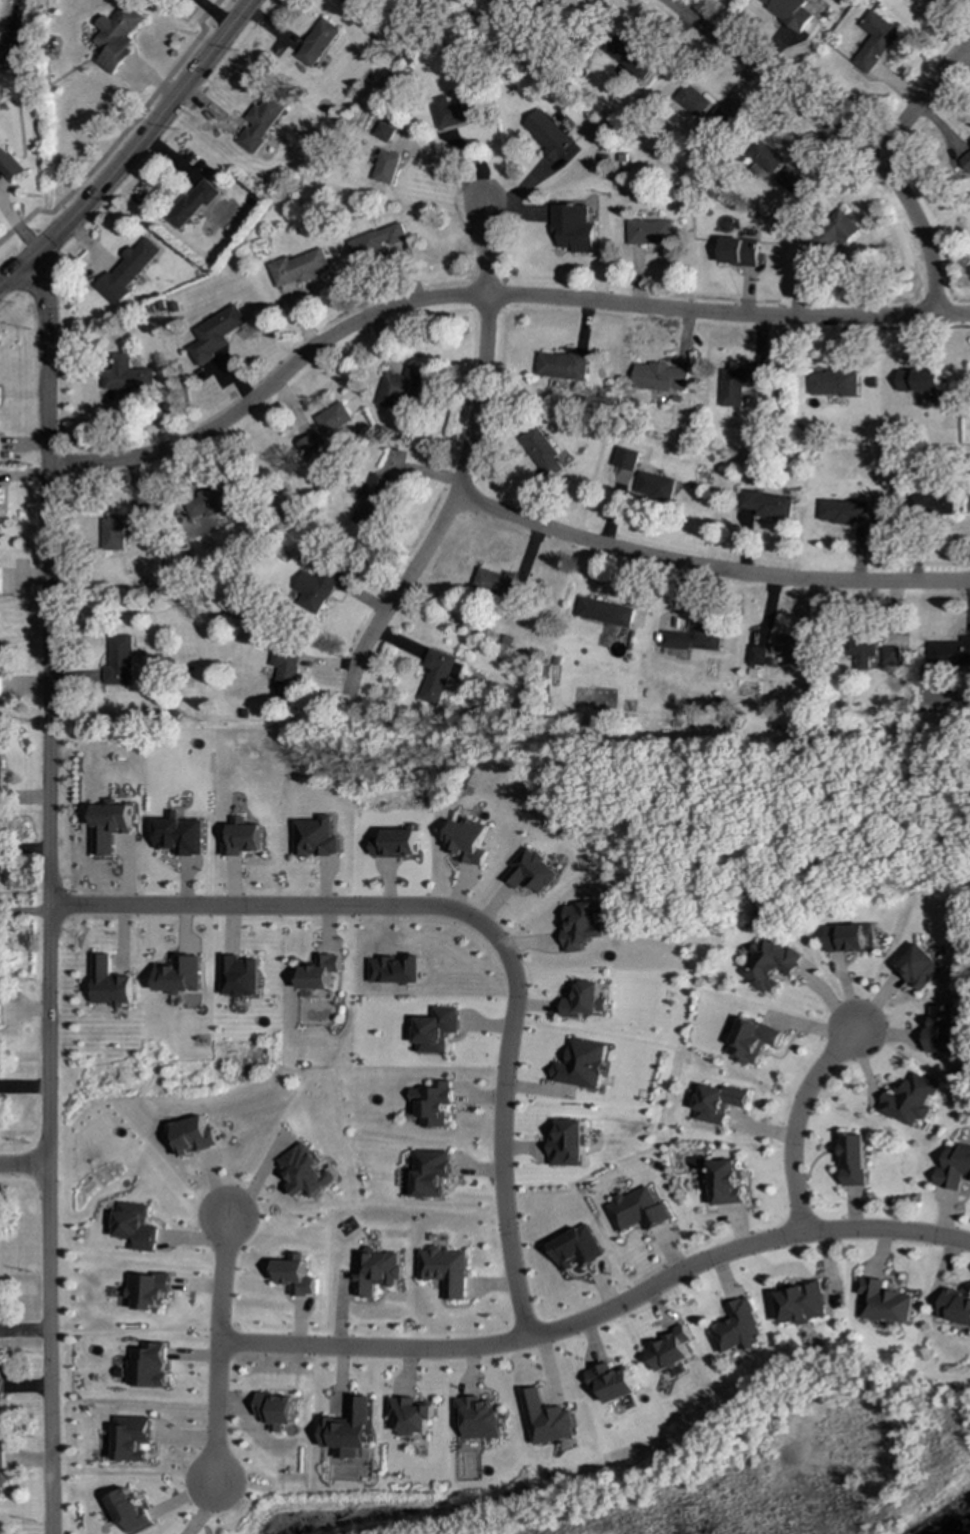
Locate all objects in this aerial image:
road: (214, 12)
building: (789, 12)
building: (117, 37)
building: (874, 42)
building: (317, 43)
building: (629, 56)
building: (692, 100)
road: (917, 106)
building: (454, 110)
building: (718, 119)
building: (260, 123)
road: (837, 132)
road: (123, 133)
building: (546, 134)
road: (132, 149)
building: (764, 156)
building: (964, 157)
building: (10, 164)
building: (385, 167)
road: (447, 168)
building: (789, 180)
building: (191, 203)
building: (571, 227)
building: (648, 232)
building: (828, 236)
building: (375, 241)
building: (736, 251)
building: (297, 268)
building: (126, 271)
road: (486, 296)
building: (213, 334)
building: (560, 365)
building: (125, 375)
building: (658, 377)
building: (918, 380)
building: (831, 383)
building: (738, 384)
building: (400, 388)
building: (332, 418)
building: (310, 447)
building: (541, 452)
building: (625, 458)
road: (463, 465)
building: (654, 486)
building: (0, 497)
building: (371, 501)
building: (205, 503)
building: (934, 503)
building: (766, 504)
building: (842, 511)
building: (137, 521)
building: (112, 533)
road: (706, 567)
building: (0, 579)
building: (500, 584)
building: (315, 588)
building: (604, 612)
building: (693, 638)
building: (792, 645)
building: (863, 651)
building: (950, 652)
building: (756, 655)
building: (890, 655)
building: (119, 661)
building: (285, 673)
building: (439, 675)
building: (0, 687)
building: (0, 774)
building: (109, 825)
building: (180, 836)
building: (316, 837)
building: (242, 838)
building: (469, 841)
building: (396, 844)
building: (532, 872)
road: (48, 896)
road: (479, 920)
building: (584, 925)
building: (851, 938)
building: (771, 964)
building: (919, 967)
building: (397, 969)
building: (320, 972)
building: (180, 974)
building: (239, 976)
building: (110, 983)
building: (585, 1001)
building: (0, 1007)
building: (438, 1029)
building: (943, 1030)
building: (753, 1041)
building: (583, 1064)
building: (911, 1100)
building: (435, 1103)
building: (719, 1103)
road: (795, 1121)
building: (194, 1135)
building: (569, 1143)
building: (855, 1160)
road: (24, 1166)
building: (955, 1168)
building: (306, 1172)
building: (432, 1172)
building: (728, 1183)
building: (639, 1210)
building: (136, 1226)
building: (578, 1249)
building: (376, 1270)
building: (447, 1270)
building: (295, 1277)
building: (149, 1290)
building: (885, 1301)
building: (802, 1303)
building: (956, 1307)
road: (601, 1310)
building: (740, 1329)
road: (220, 1349)
building: (672, 1350)
building: (149, 1365)
building: (614, 1381)
building: (1, 1382)
building: (276, 1410)
building: (412, 1415)
building: (481, 1418)
building: (548, 1419)
building: (350, 1429)
building: (132, 1438)
building: (1, 1475)
building: (129, 1511)
building: (0, 1532)

